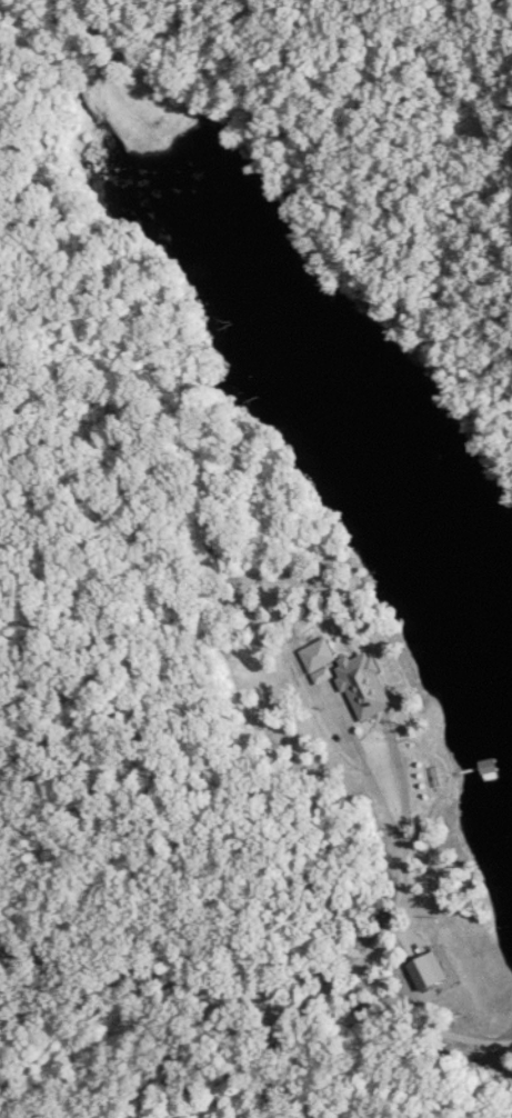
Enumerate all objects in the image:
building: (505, 769)
road: (255, 998)

